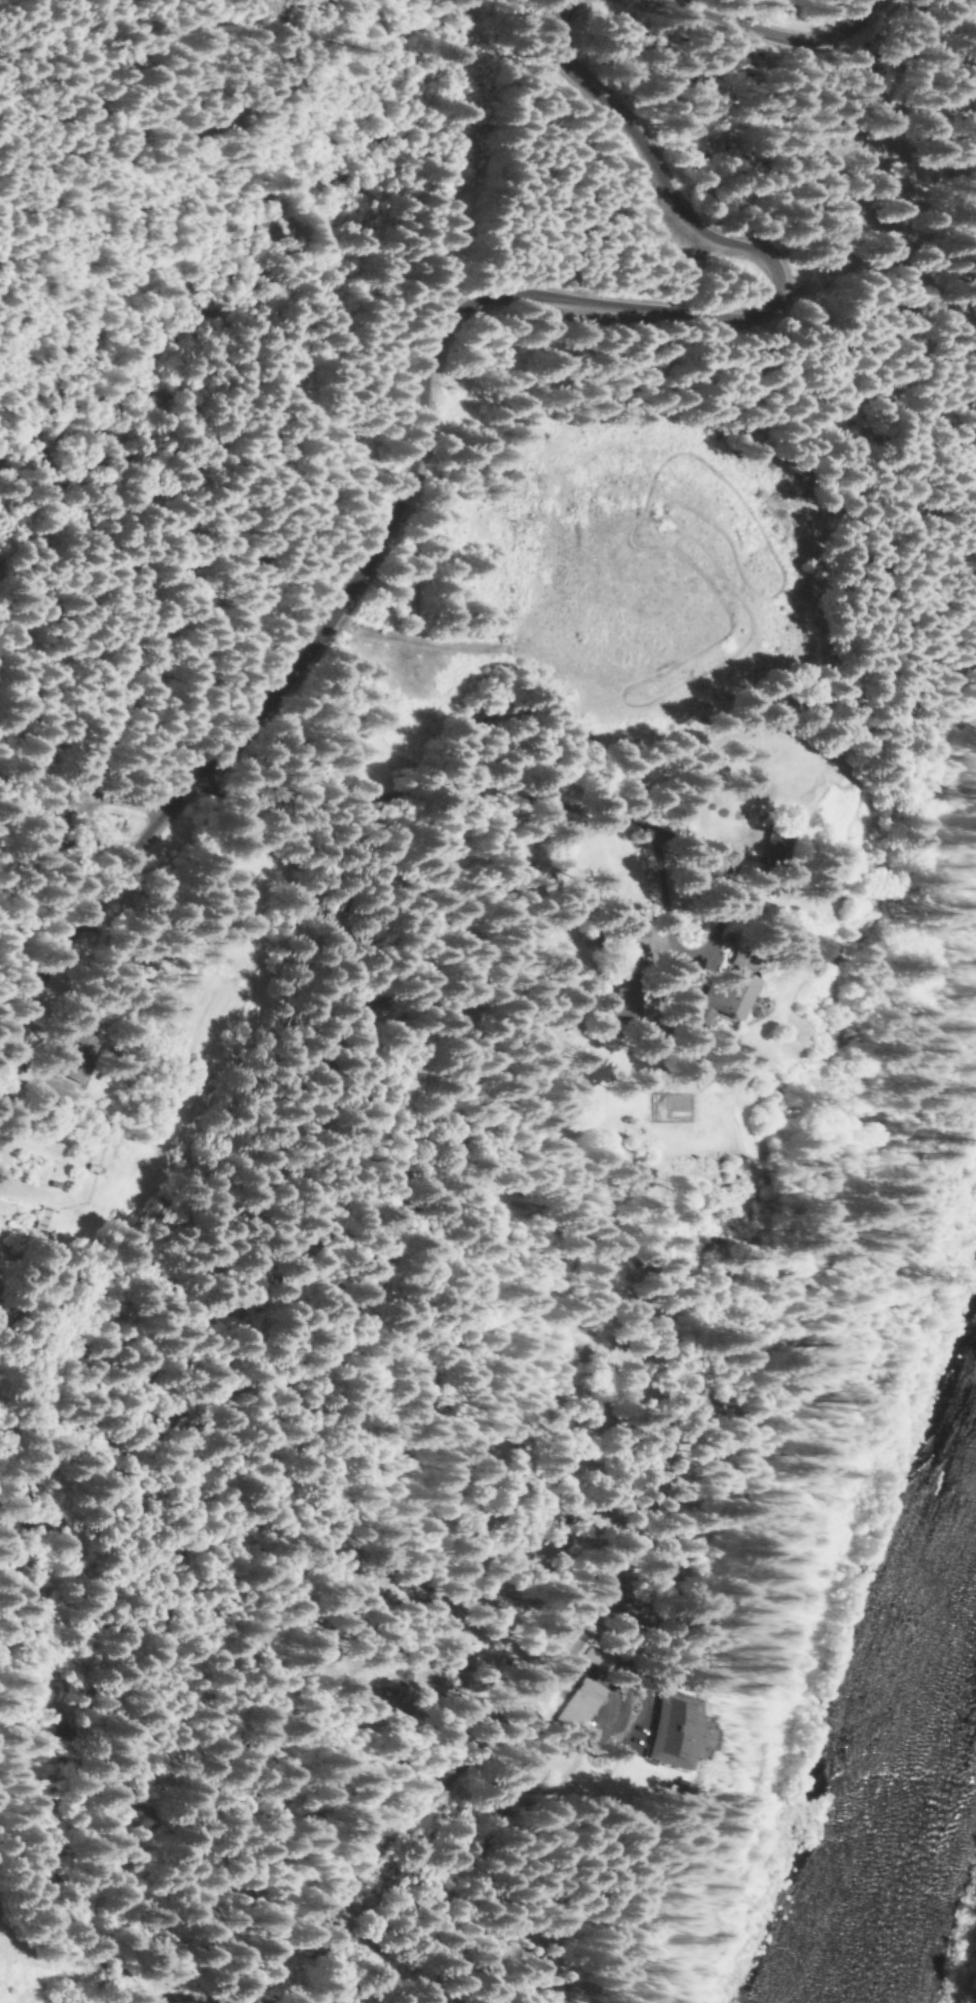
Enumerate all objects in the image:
road: (763, 35)
road: (421, 377)
building: (626, 941)
building: (737, 962)
building: (726, 996)
building: (73, 1057)
building: (43, 1221)
road: (633, 1523)
building: (586, 1699)
building: (674, 1732)
river: (909, 1776)

